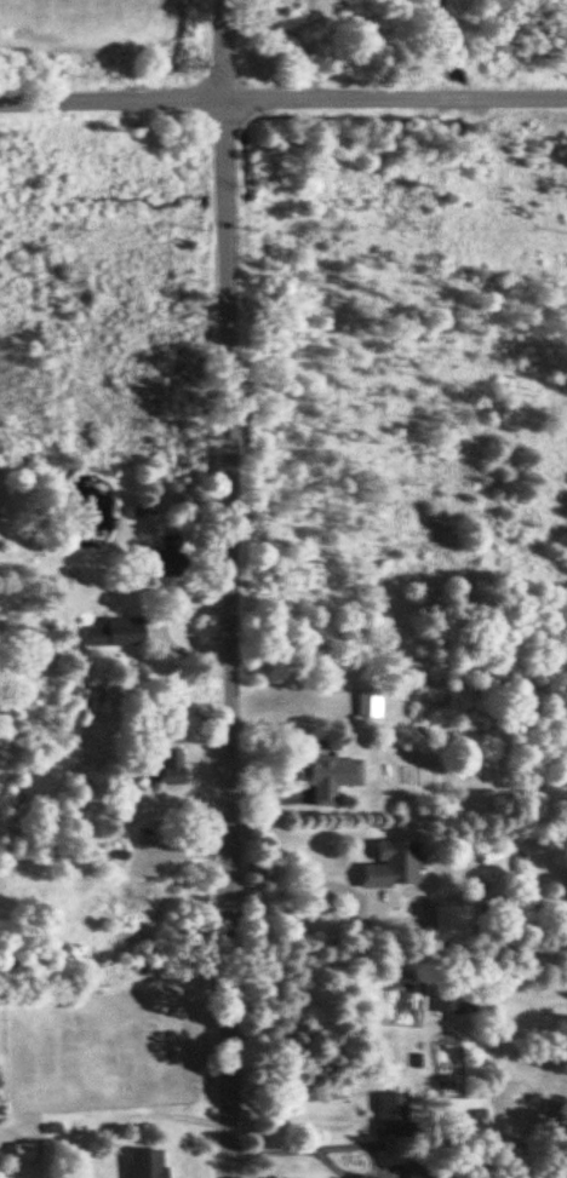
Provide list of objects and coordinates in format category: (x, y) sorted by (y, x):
crop: (87, 18)
road: (282, 93)
building: (165, 554)
road: (219, 588)
building: (115, 630)
building: (365, 701)
building: (162, 765)
building: (326, 775)
building: (388, 863)
building: (445, 918)
building: (446, 1001)
building: (389, 1114)
road: (345, 1147)
building: (19, 1149)
building: (142, 1162)
building: (413, 1168)

